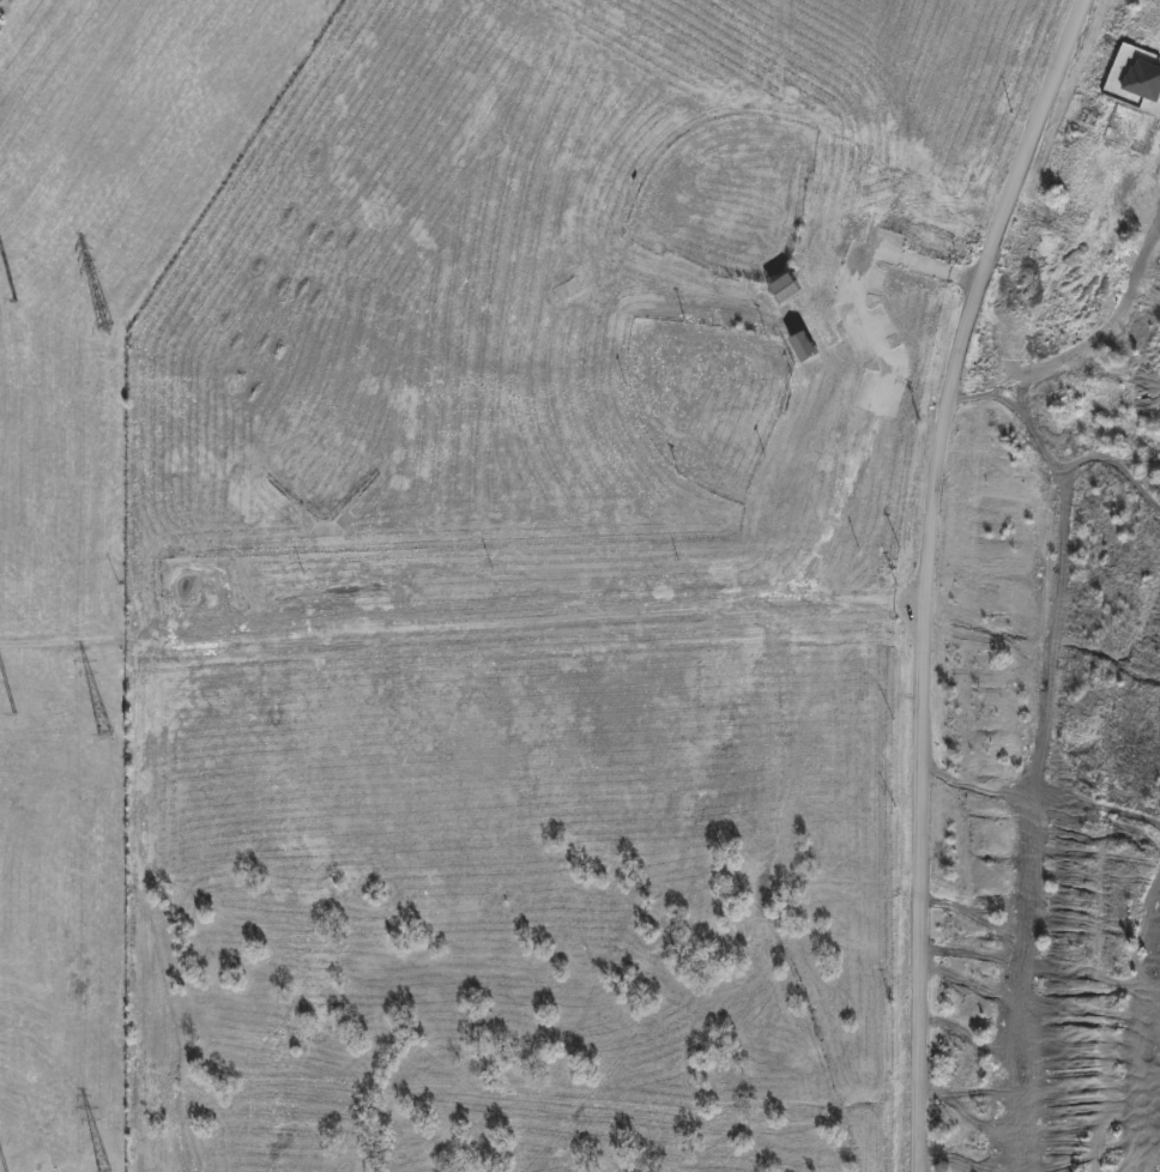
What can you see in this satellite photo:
park: (732, 193)
building: (787, 285)
power tower: (18, 298)
power tower: (111, 327)
building: (808, 352)
road: (1090, 362)
park: (703, 399)
road: (934, 574)
park: (540, 584)
road: (465, 626)
power tower: (16, 714)
power tower: (110, 736)

